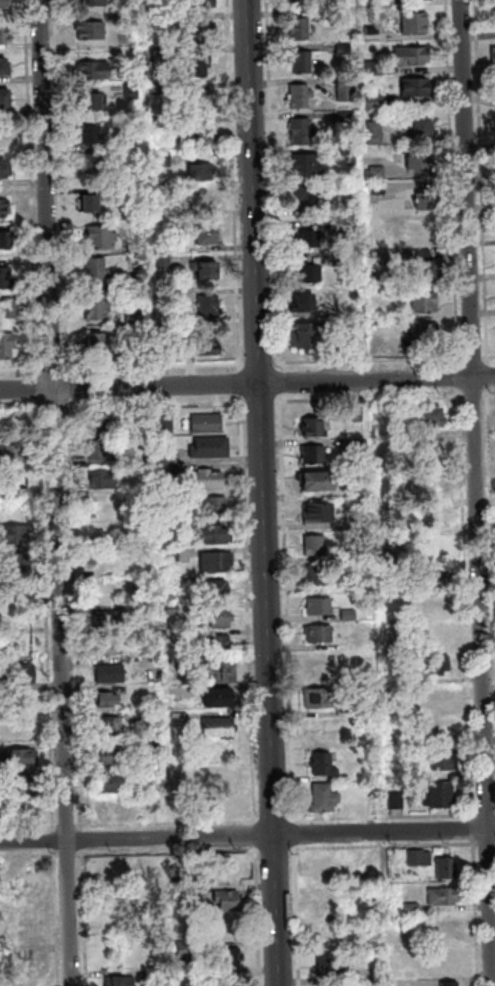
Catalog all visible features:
building: (417, 0)
building: (92, 3)
building: (302, 3)
building: (203, 4)
building: (4, 5)
building: (129, 18)
building: (416, 24)
building: (92, 31)
building: (198, 31)
building: (302, 31)
building: (375, 34)
building: (4, 36)
building: (346, 50)
building: (158, 54)
building: (413, 56)
building: (494, 57)
building: (306, 61)
building: (200, 66)
building: (376, 68)
building: (4, 69)
building: (97, 71)
building: (342, 87)
building: (417, 88)
building: (159, 89)
building: (133, 90)
building: (347, 95)
building: (302, 96)
building: (201, 100)
building: (5, 101)
building: (92, 103)
building: (376, 103)
building: (348, 117)
building: (376, 118)
building: (161, 123)
building: (422, 128)
building: (303, 132)
building: (377, 134)
building: (5, 135)
building: (90, 135)
building: (199, 139)
building: (349, 156)
building: (163, 159)
building: (91, 163)
building: (421, 164)
building: (306, 166)
building: (5, 170)
building: (202, 173)
building: (378, 173)
road: (236, 185)
road: (62, 188)
building: (379, 188)
road: (34, 189)
building: (136, 192)
building: (311, 197)
building: (200, 201)
building: (428, 202)
building: (93, 204)
building: (4, 209)
building: (341, 210)
building: (350, 225)
building: (416, 232)
building: (102, 237)
building: (206, 237)
building: (310, 239)
building: (6, 241)
building: (163, 247)
building: (137, 249)
building: (426, 256)
building: (352, 257)
building: (165, 263)
building: (207, 271)
building: (425, 272)
building: (97, 273)
building: (311, 275)
building: (6, 279)
building: (139, 283)
building: (398, 291)
building: (170, 295)
building: (426, 304)
building: (305, 305)
building: (98, 307)
building: (210, 307)
building: (8, 310)
building: (136, 317)
building: (426, 335)
building: (308, 337)
building: (97, 343)
building: (7, 346)
building: (207, 347)
building: (144, 352)
building: (166, 353)
road: (254, 364)
road: (156, 365)
road: (55, 368)
road: (22, 369)
road: (247, 382)
road: (243, 383)
road: (69, 387)
road: (41, 389)
road: (256, 403)
road: (156, 404)
road: (55, 408)
road: (23, 409)
building: (359, 414)
building: (432, 421)
building: (209, 425)
building: (100, 426)
building: (168, 426)
building: (145, 427)
building: (314, 430)
building: (397, 431)
building: (358, 444)
building: (433, 448)
building: (211, 449)
building: (104, 451)
building: (14, 455)
building: (145, 456)
building: (315, 456)
building: (171, 458)
road: (480, 463)
building: (171, 470)
building: (105, 480)
building: (208, 481)
building: (13, 482)
building: (319, 483)
road: (58, 493)
road: (265, 493)
building: (215, 508)
building: (320, 515)
building: (436, 520)
building: (173, 526)
building: (14, 535)
building: (214, 535)
building: (390, 536)
building: (316, 547)
building: (395, 554)
building: (174, 555)
building: (217, 563)
building: (13, 565)
building: (114, 566)
building: (316, 576)
building: (433, 577)
building: (399, 587)
building: (218, 592)
building: (321, 607)
road: (251, 609)
building: (173, 610)
road: (48, 615)
road: (77, 615)
building: (350, 616)
building: (220, 618)
building: (109, 621)
building: (320, 635)
building: (441, 636)
building: (177, 640)
building: (109, 646)
building: (218, 646)
building: (443, 665)
building: (223, 673)
building: (112, 674)
building: (24, 675)
building: (109, 700)
building: (219, 700)
building: (322, 700)
building: (438, 700)
building: (402, 709)
building: (179, 719)
building: (110, 727)
building: (25, 730)
building: (220, 730)
building: (112, 757)
building: (22, 759)
building: (447, 762)
building: (326, 765)
building: (228, 782)
building: (111, 783)
building: (26, 787)
building: (442, 797)
building: (326, 801)
building: (398, 802)
building: (374, 804)
building: (228, 805)
road: (268, 821)
road: (168, 823)
road: (69, 826)
road: (30, 827)
road: (247, 836)
road: (257, 836)
road: (85, 840)
road: (56, 842)
road: (269, 850)
road: (170, 853)
road: (30, 855)
road: (70, 855)
building: (421, 860)
building: (448, 870)
building: (327, 871)
building: (197, 893)
building: (228, 898)
building: (445, 898)
building: (332, 902)
building: (414, 909)
road: (261, 916)
road: (87, 917)
road: (58, 918)
building: (231, 927)
building: (188, 950)
building: (231, 957)
building: (449, 963)
building: (332, 968)
building: (414, 976)
building: (157, 977)
building: (122, 981)
building: (452, 985)

